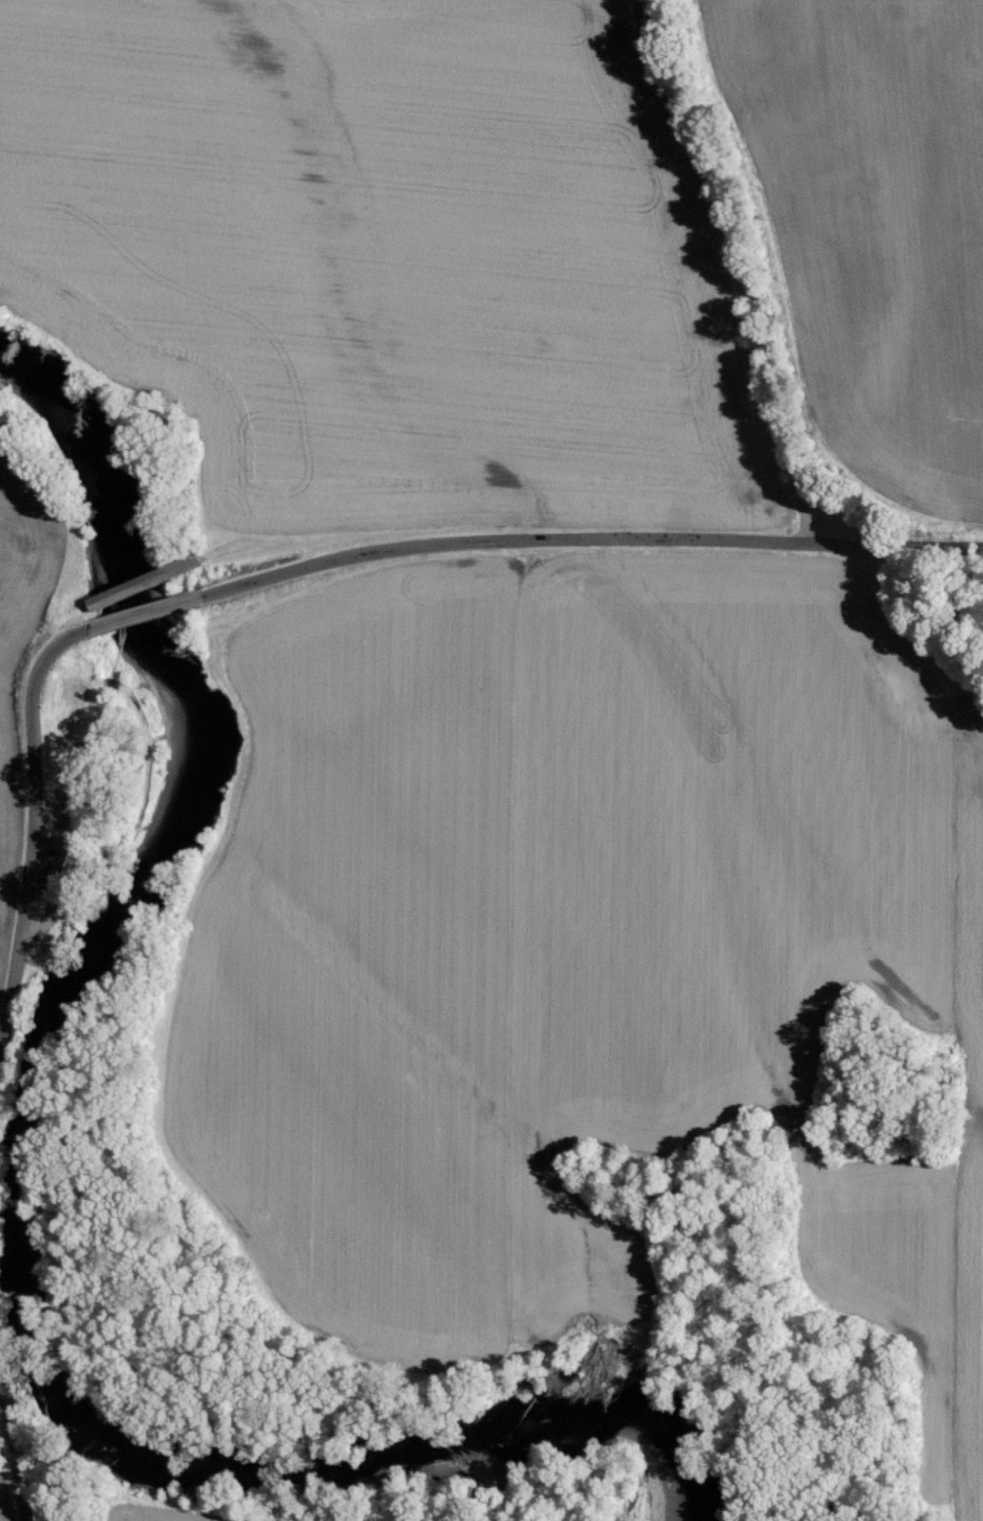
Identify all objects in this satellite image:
road: (717, 270)
river: (100, 473)
road: (588, 538)
road: (149, 579)
road: (147, 613)
road: (69, 618)
road: (34, 833)
road: (61, 888)
river: (50, 1374)
road: (15, 1440)

